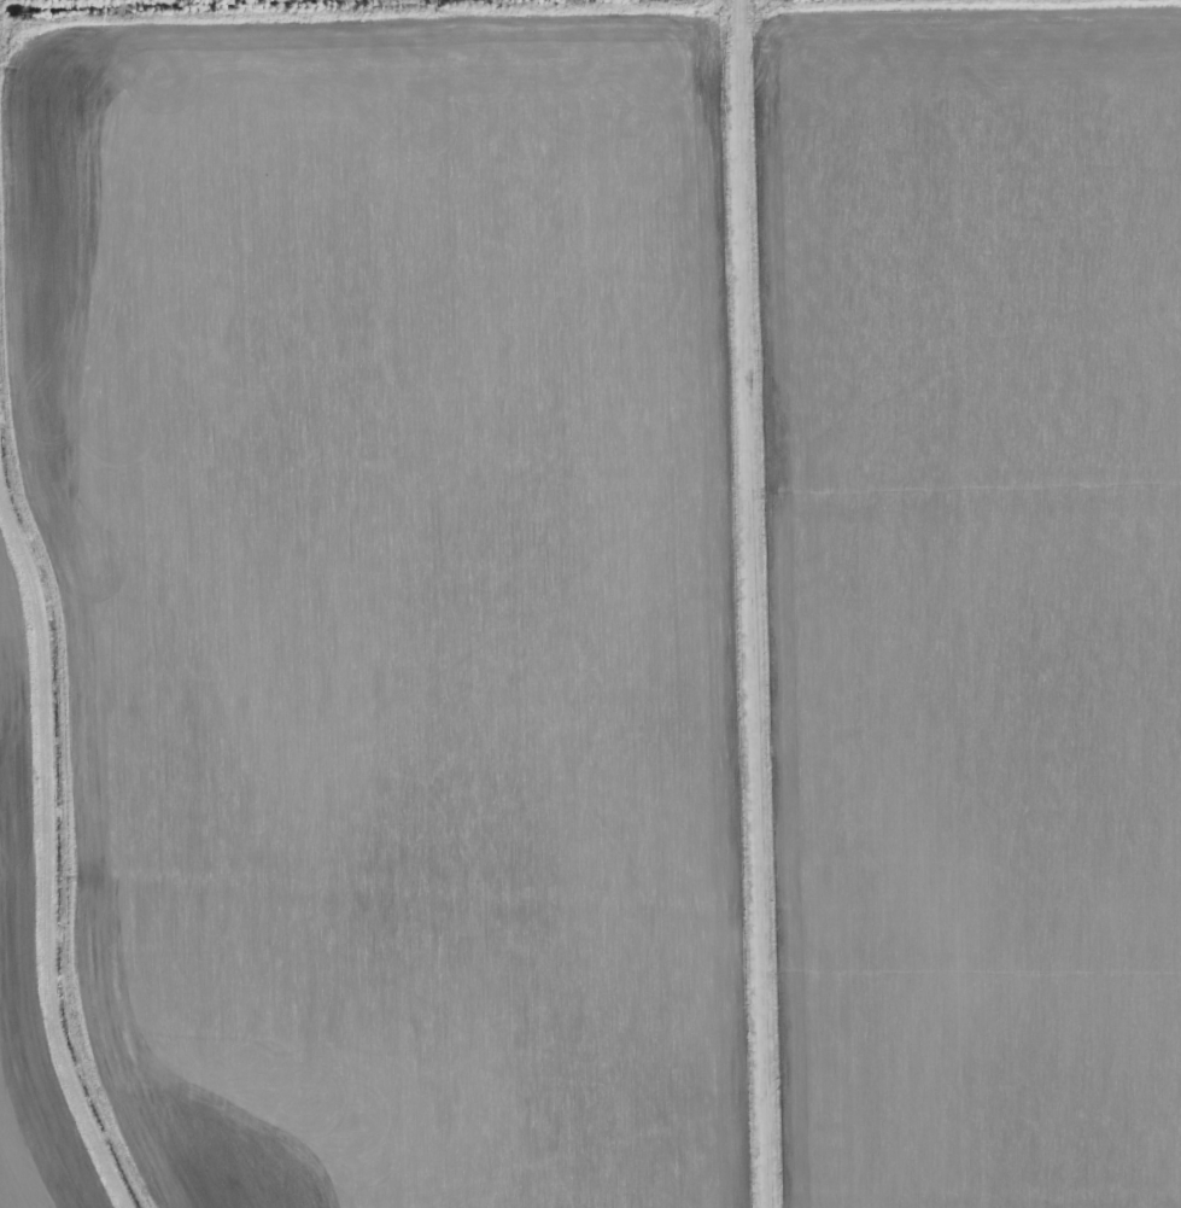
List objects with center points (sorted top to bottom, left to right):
road: (776, 603)

